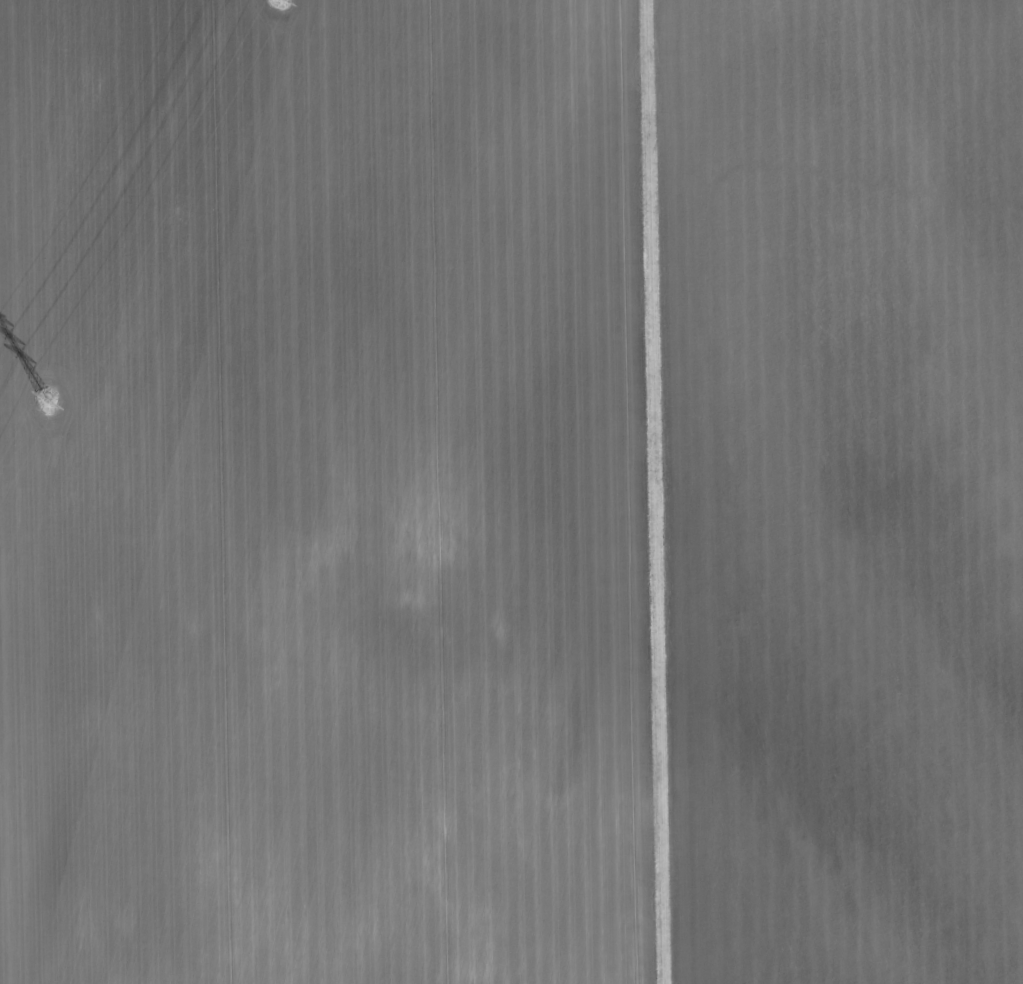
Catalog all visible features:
power tower: (48, 401)
road: (660, 492)

